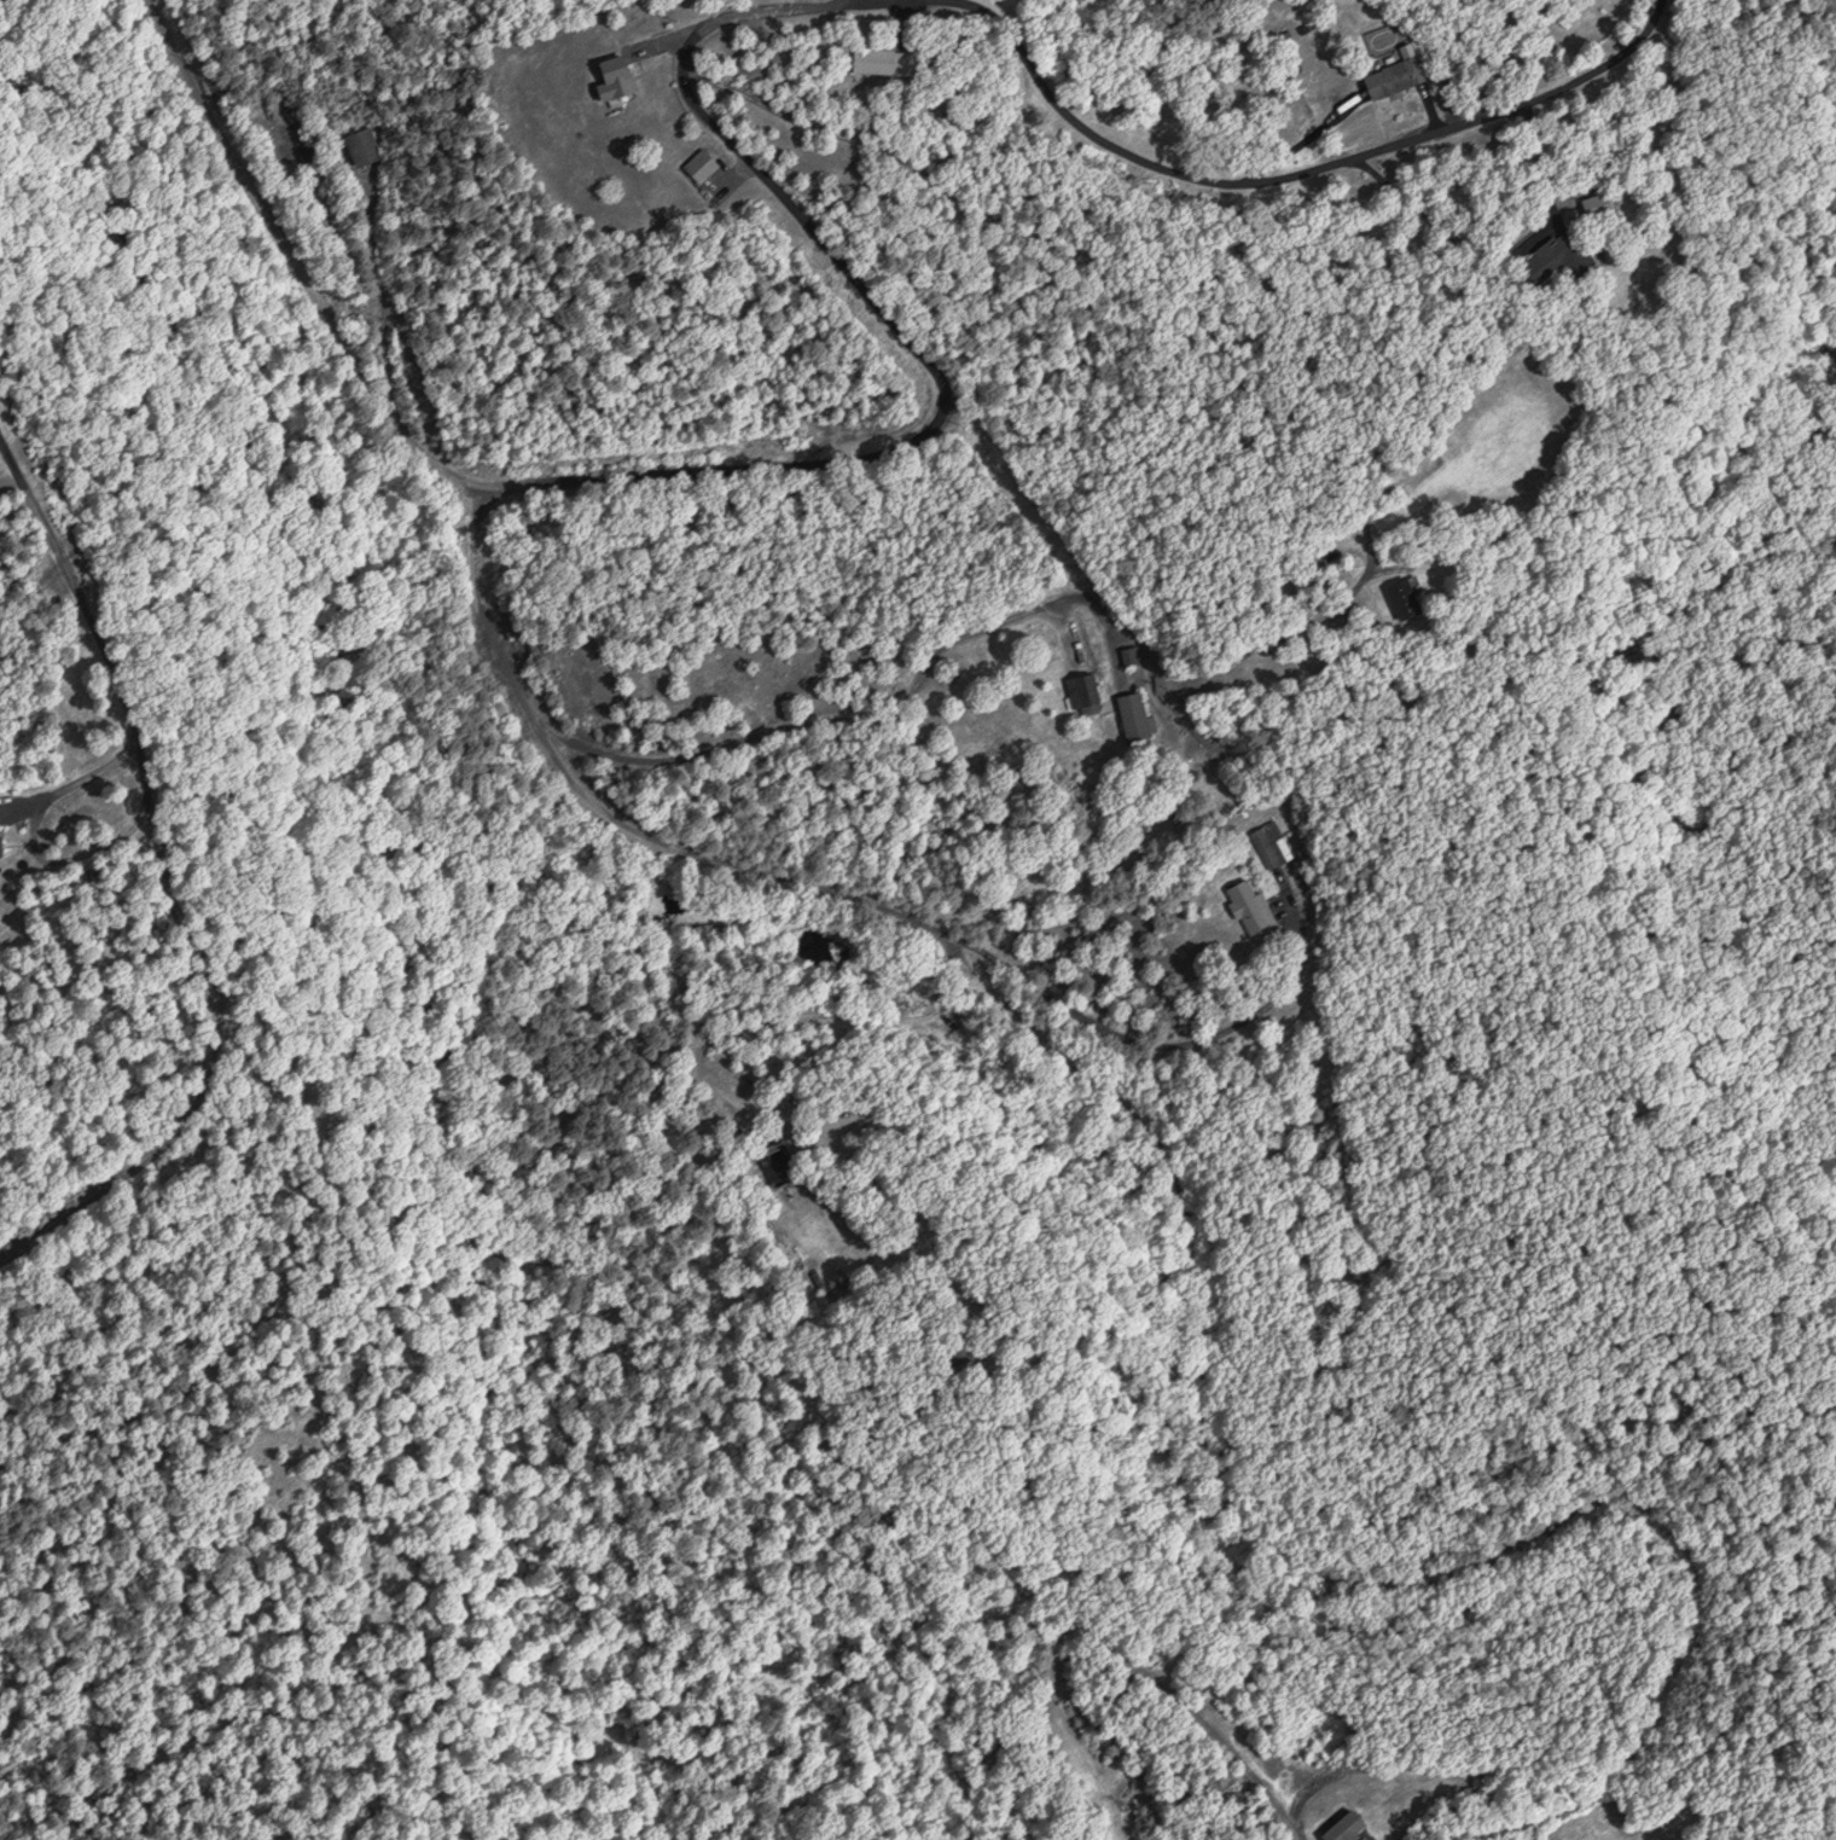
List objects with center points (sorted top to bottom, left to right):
building: (877, 58)
building: (1398, 74)
building: (618, 76)
building: (364, 145)
building: (711, 172)
road: (1268, 172)
building: (1599, 205)
building: (1559, 256)
road: (736, 466)
building: (1405, 596)
road: (100, 635)
building: (1131, 655)
building: (1086, 691)
building: (1138, 720)
park: (1773, 799)
building: (0, 828)
building: (1272, 842)
building: (1251, 905)
road: (295, 1068)
building: (775, 1161)
road: (1186, 1278)
building: (1346, 1826)

